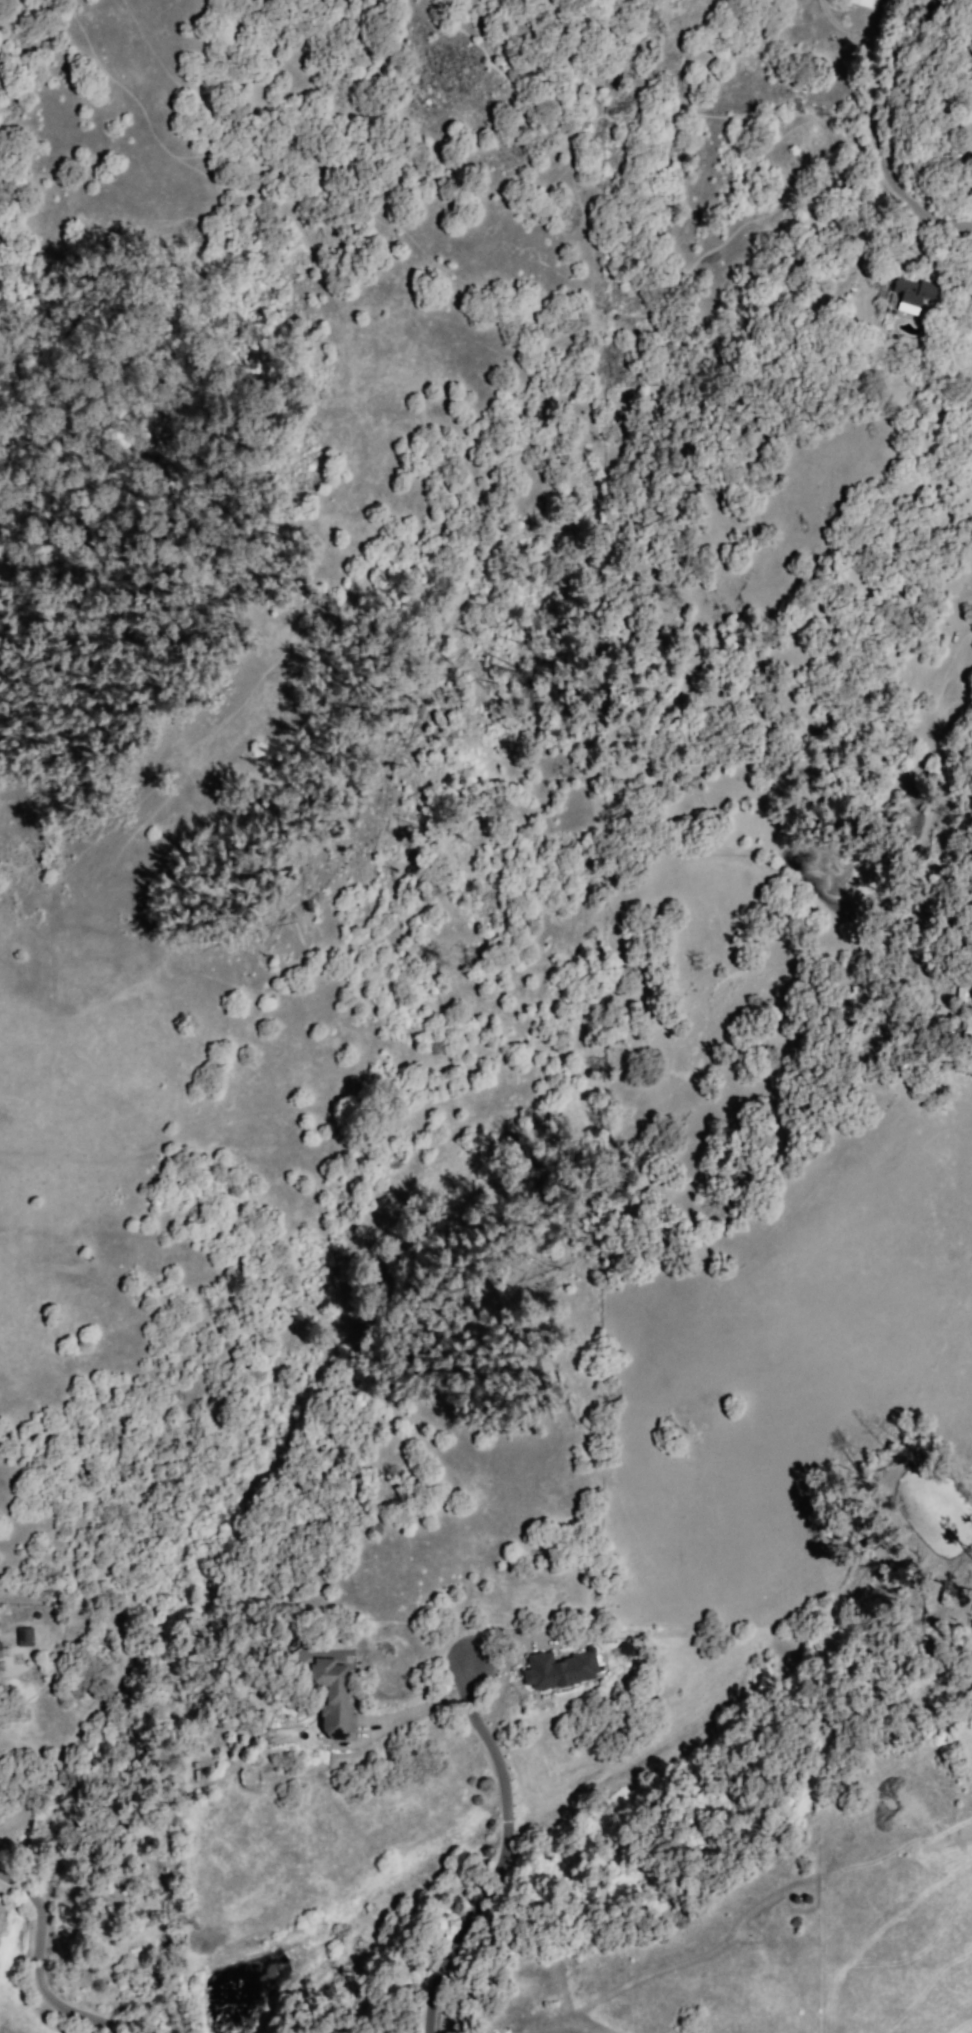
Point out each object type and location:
building: (863, 1)
building: (930, 5)
road: (878, 133)
building: (922, 283)
building: (970, 1049)
road: (47, 1144)
building: (24, 1636)
building: (1, 1657)
building: (560, 1672)
building: (334, 1701)
road: (413, 1711)
road: (667, 1747)
road: (491, 1758)
road: (41, 1962)
road: (440, 2007)

